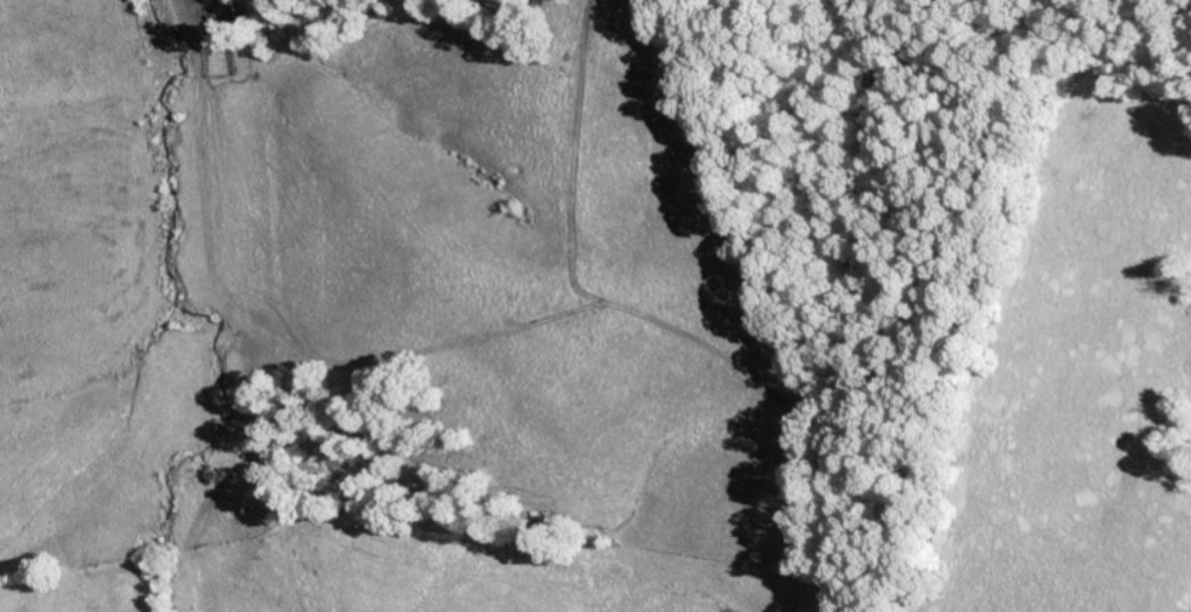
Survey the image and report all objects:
road: (851, 305)

